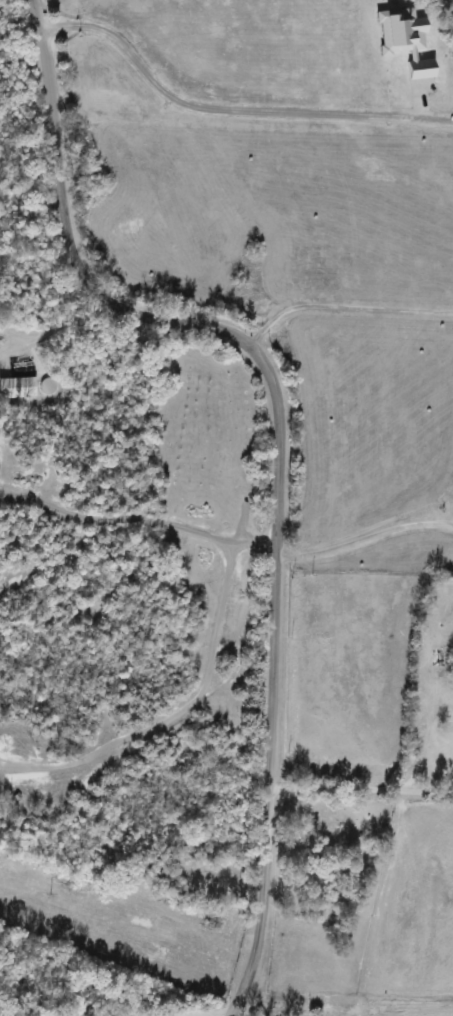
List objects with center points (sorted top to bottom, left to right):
road: (221, 108)
road: (341, 307)
road: (57, 346)
road: (277, 442)
road: (137, 520)
road: (364, 534)
road: (174, 711)
road: (360, 789)

